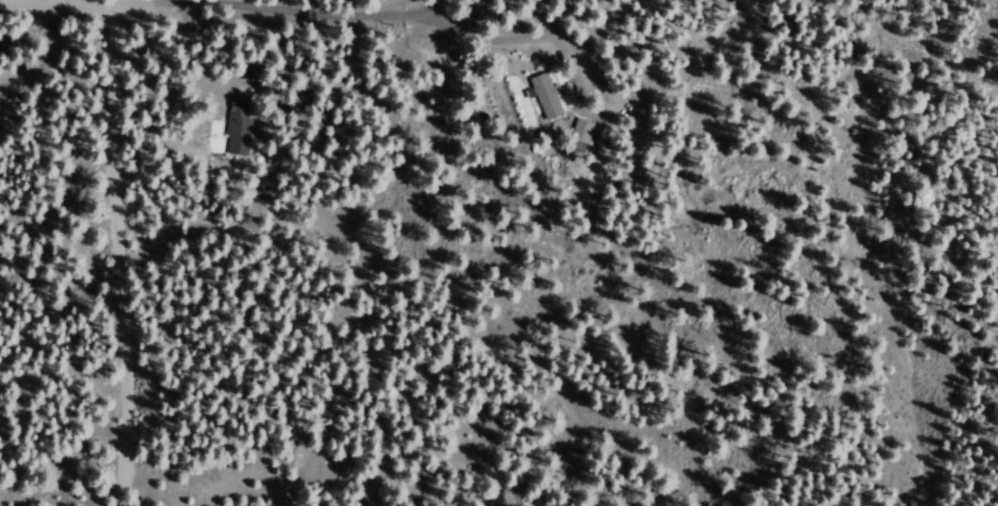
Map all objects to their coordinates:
road: (119, 3)
road: (218, 7)
road: (500, 36)
road: (190, 56)
road: (573, 65)
building: (545, 96)
building: (578, 130)
building: (235, 133)
road: (118, 255)

